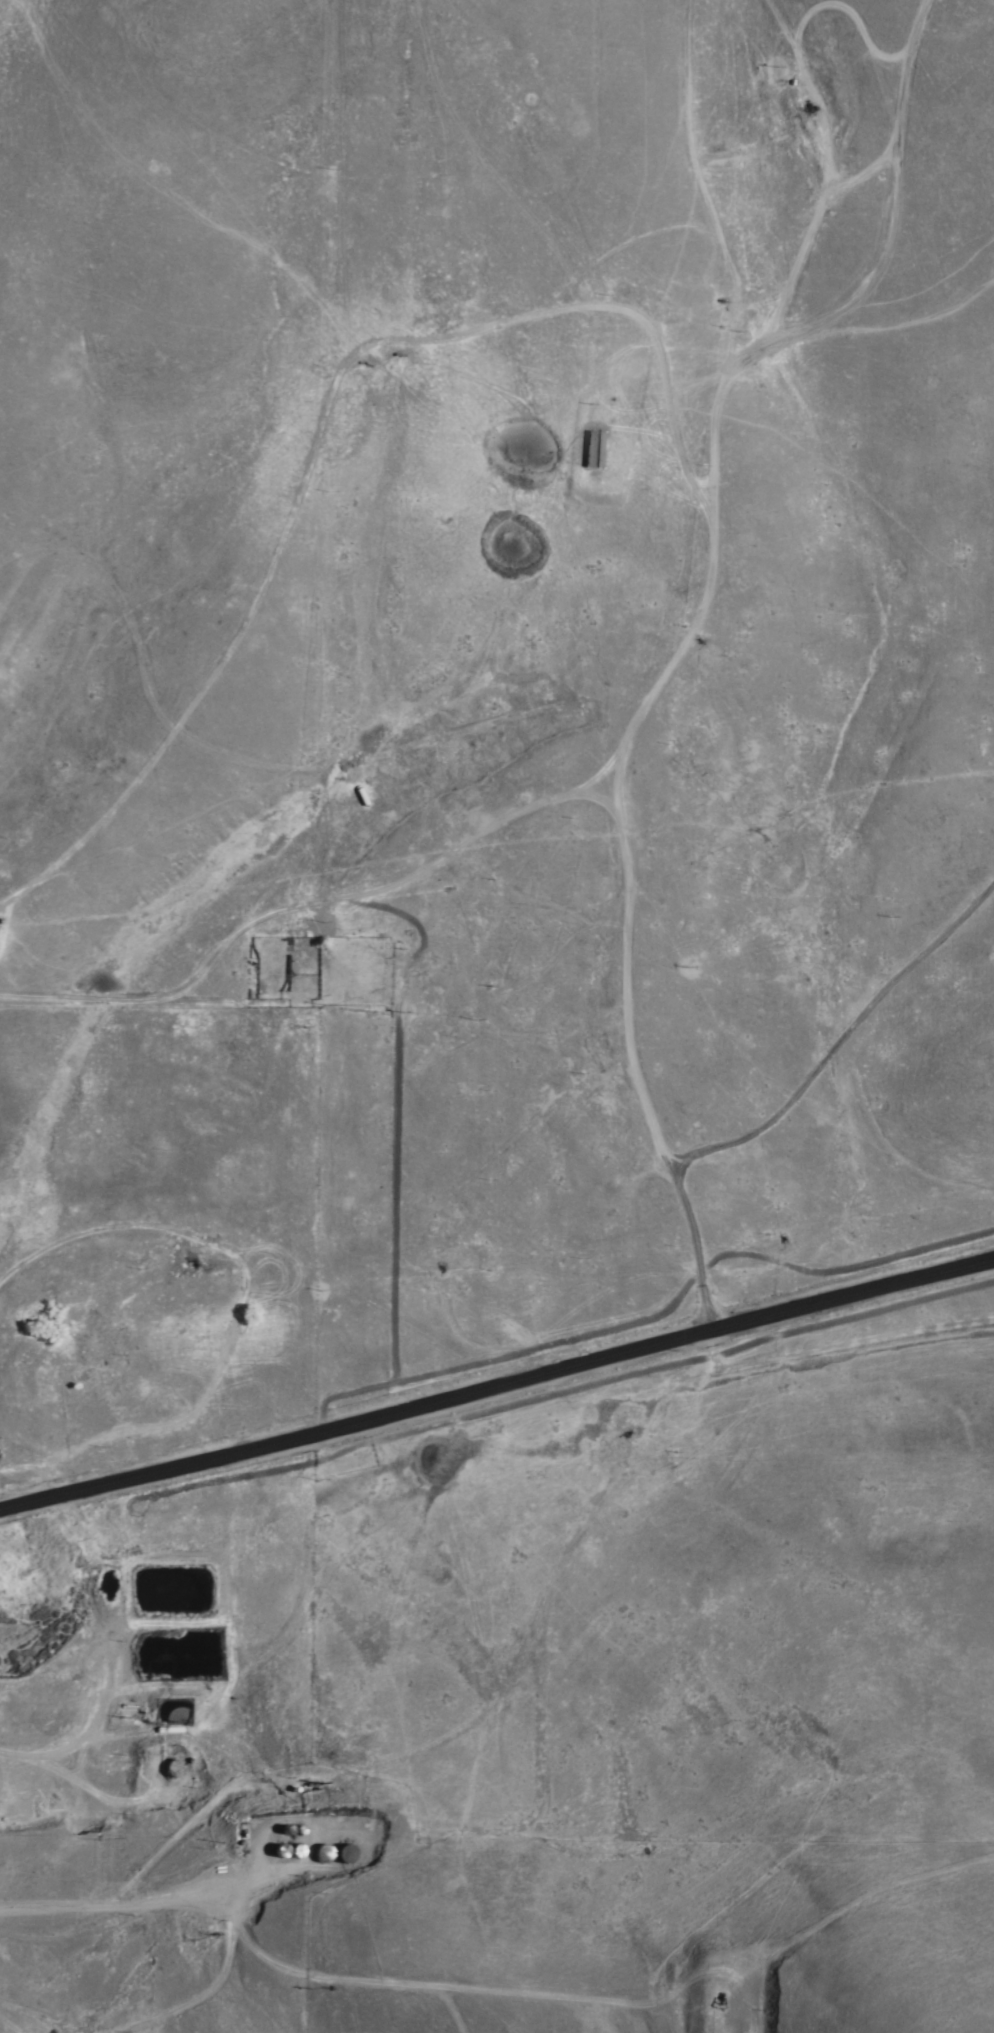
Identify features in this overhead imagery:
road: (810, 95)
road: (839, 194)
road: (674, 669)
road: (495, 826)
road: (497, 1386)
road: (211, 1906)

